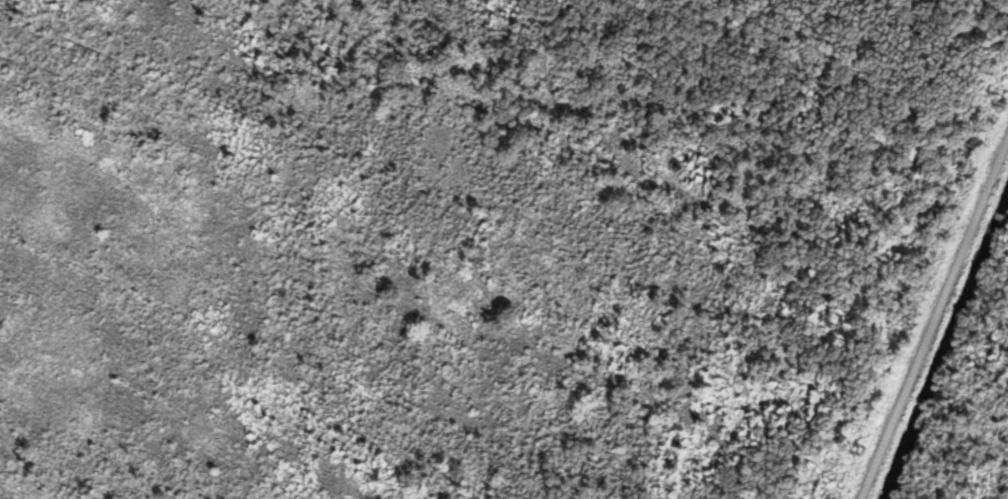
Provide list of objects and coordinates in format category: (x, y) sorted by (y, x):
road: (934, 320)

